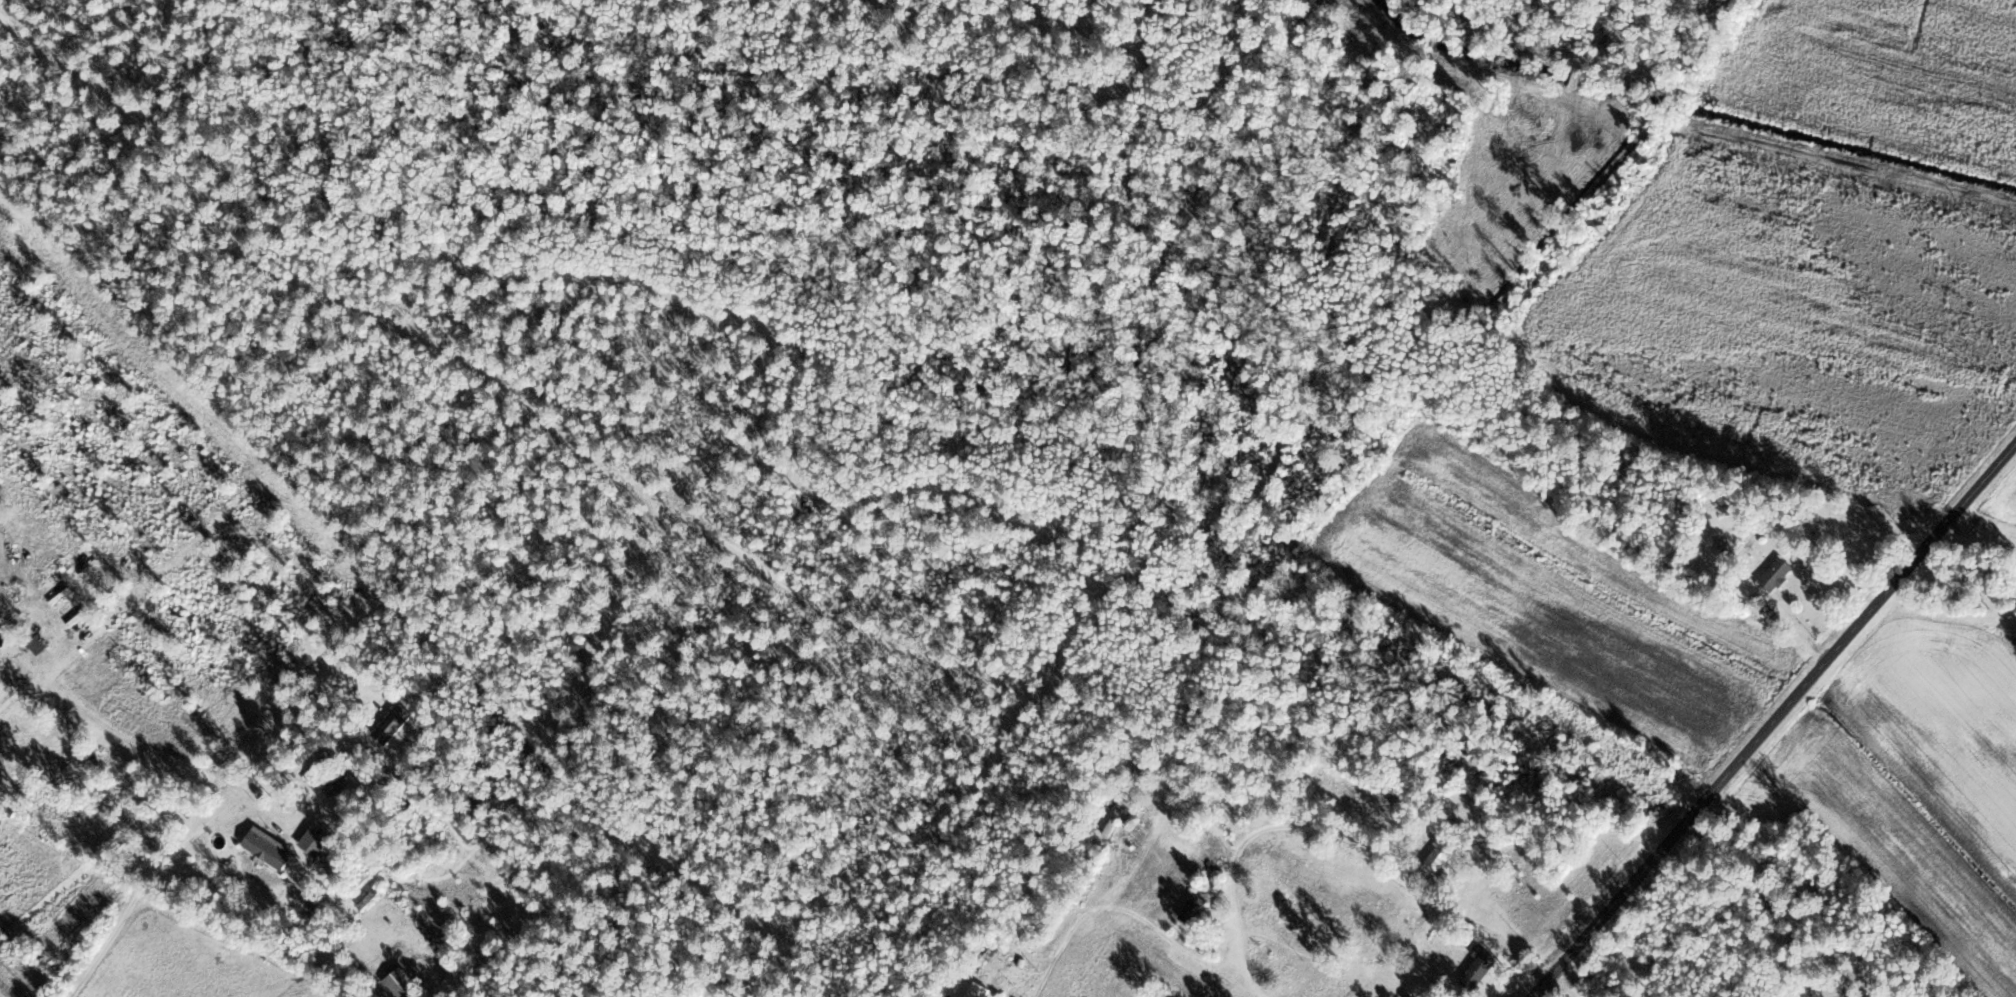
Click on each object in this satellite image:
road: (571, 401)
building: (1776, 575)
building: (37, 644)
road: (1776, 714)
building: (391, 723)
road: (1113, 771)
building: (336, 782)
building: (1112, 823)
building: (314, 841)
building: (268, 848)
building: (1438, 858)
building: (1192, 909)
building: (1478, 969)
building: (399, 981)
building: (977, 990)

